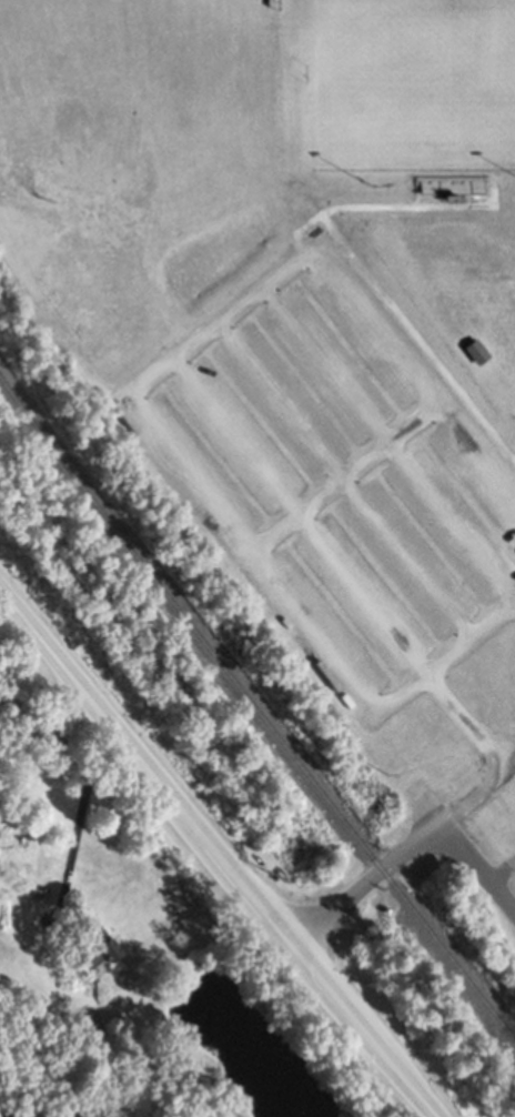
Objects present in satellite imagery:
park: (301, 351)
road: (162, 365)
road: (473, 636)
railway: (255, 708)
road: (473, 791)
road: (216, 856)
road: (363, 878)
building: (486, 896)
building: (94, 945)

